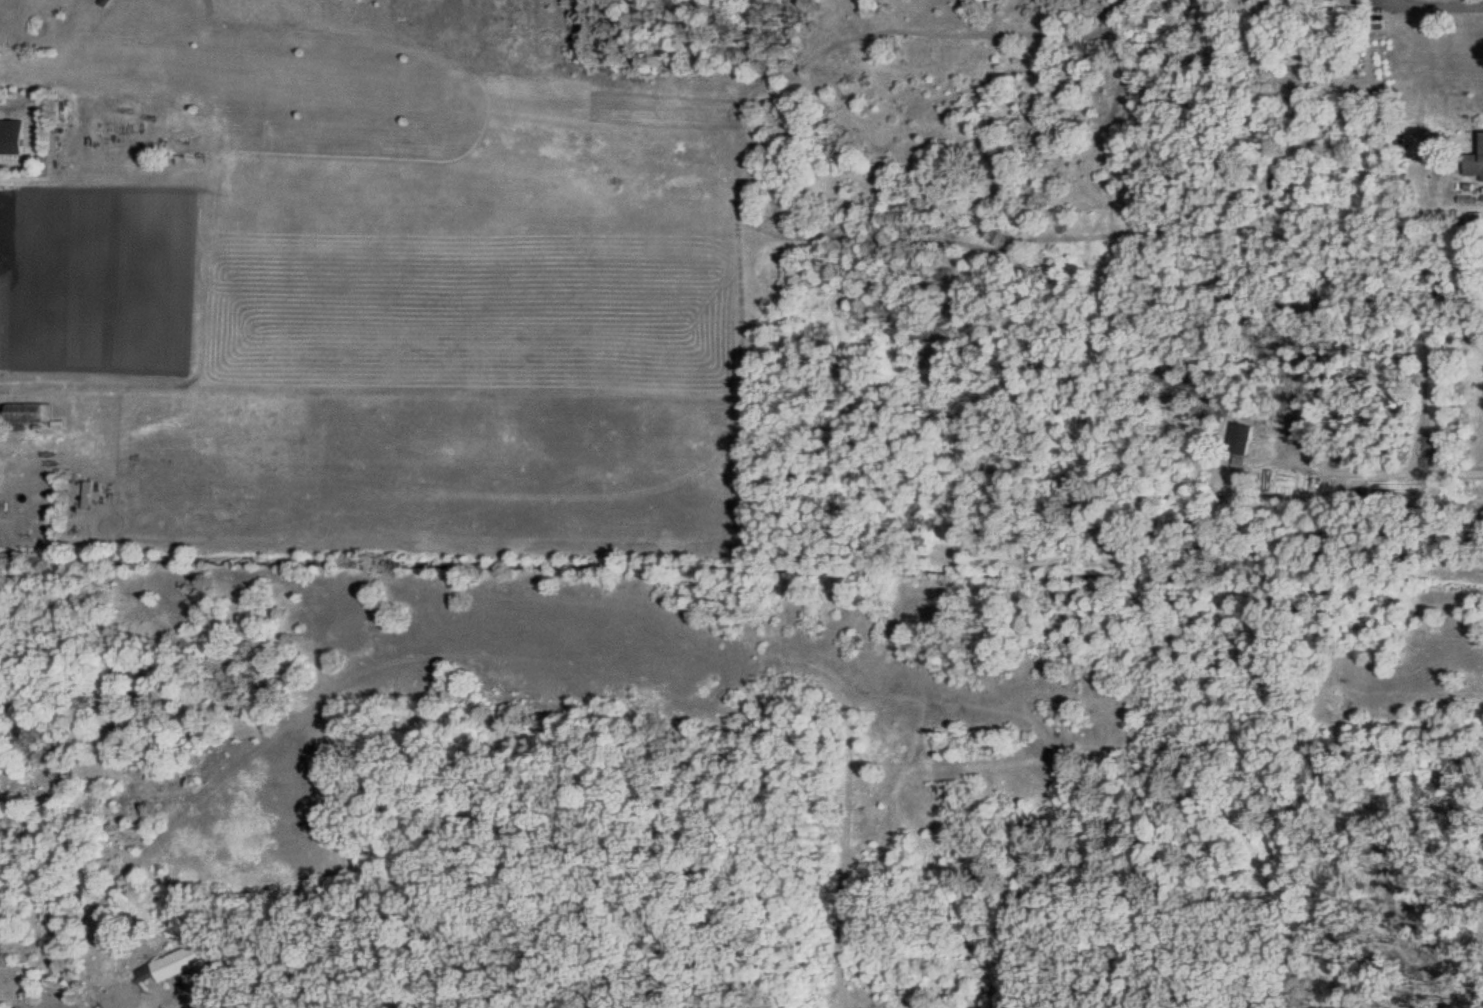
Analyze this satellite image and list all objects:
road: (1446, 3)
building: (11, 135)
building: (1474, 165)
building: (29, 411)
building: (1299, 425)
building: (1240, 443)
road: (1385, 470)
building: (176, 961)
road: (174, 1007)

